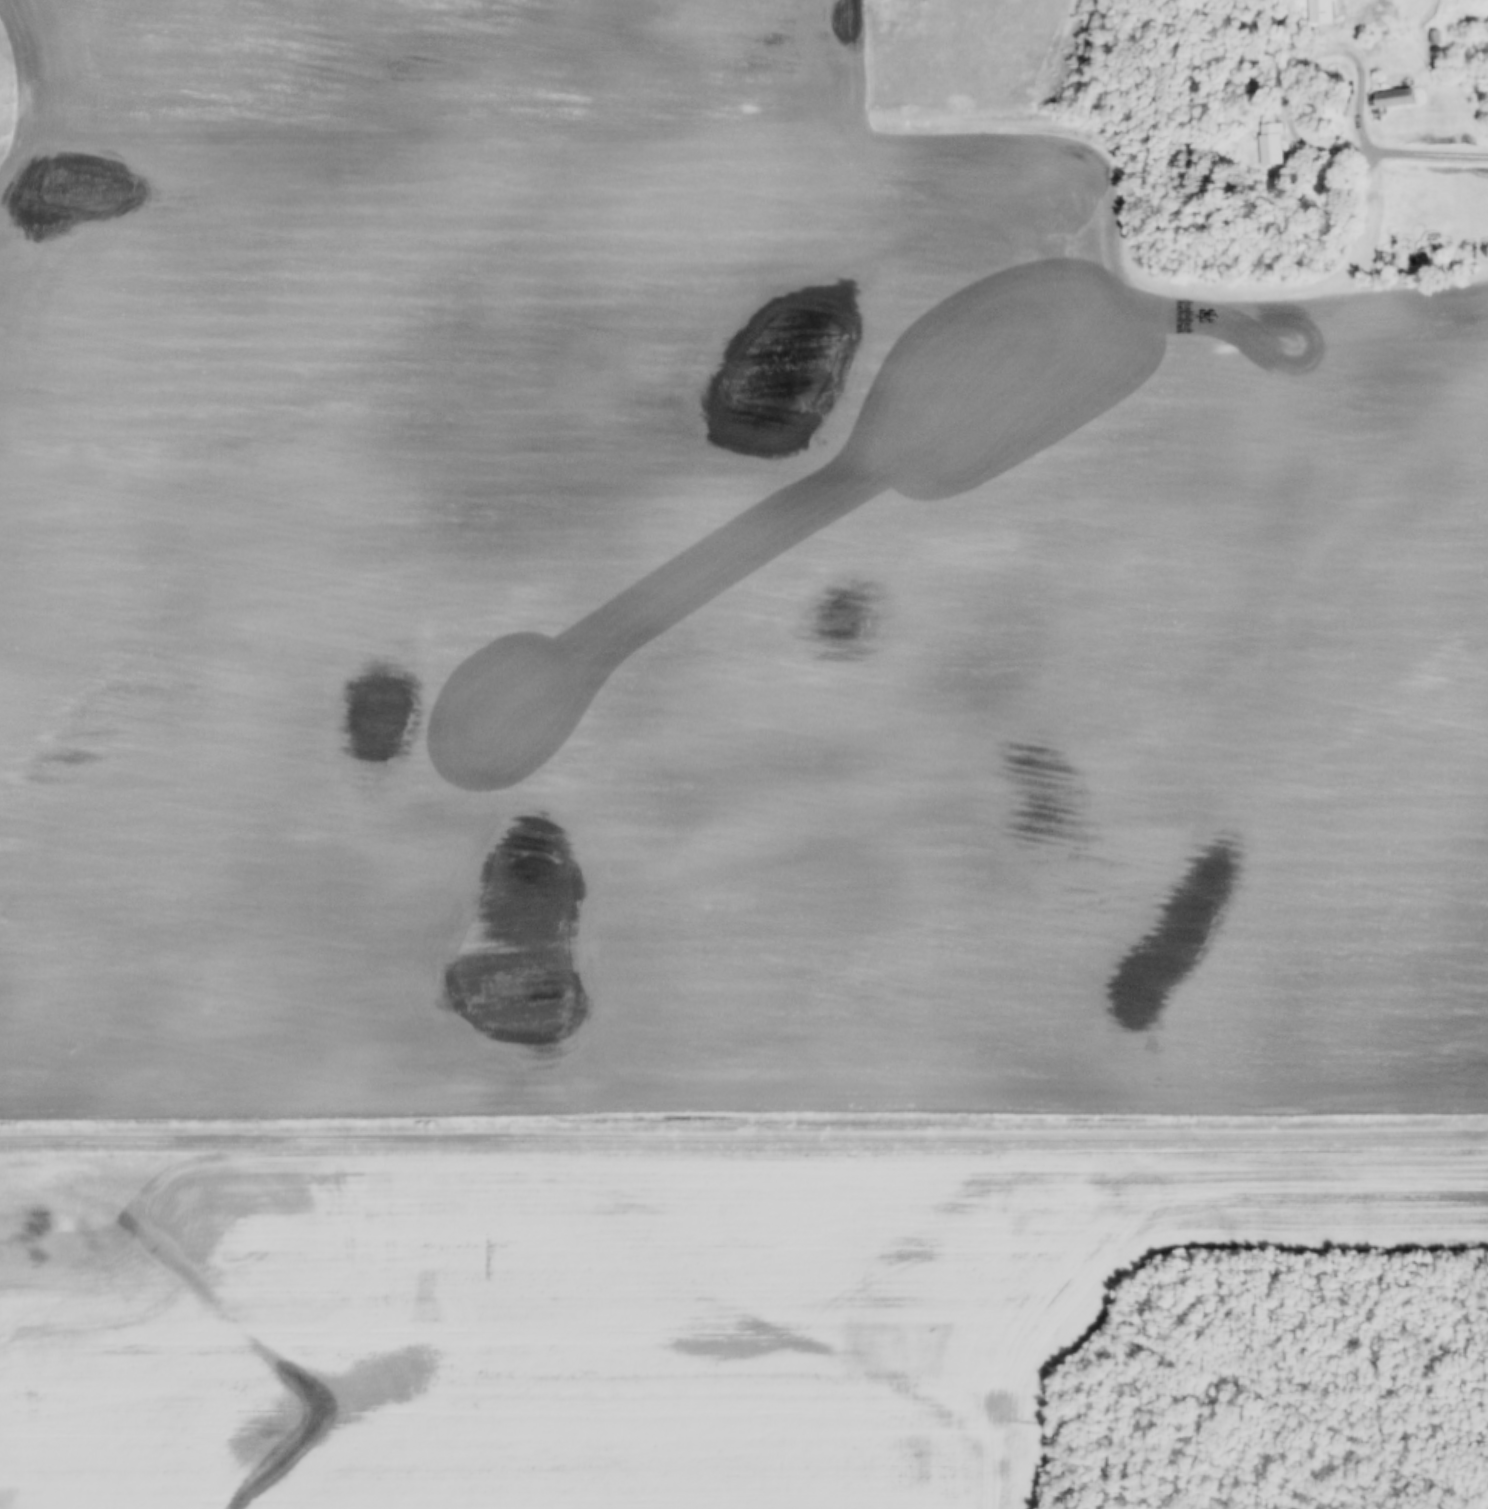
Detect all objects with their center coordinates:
building: (1325, 8)
road: (1304, 60)
building: (1400, 92)
building: (1335, 105)
building: (1274, 139)
road: (1431, 150)
road: (744, 1133)

